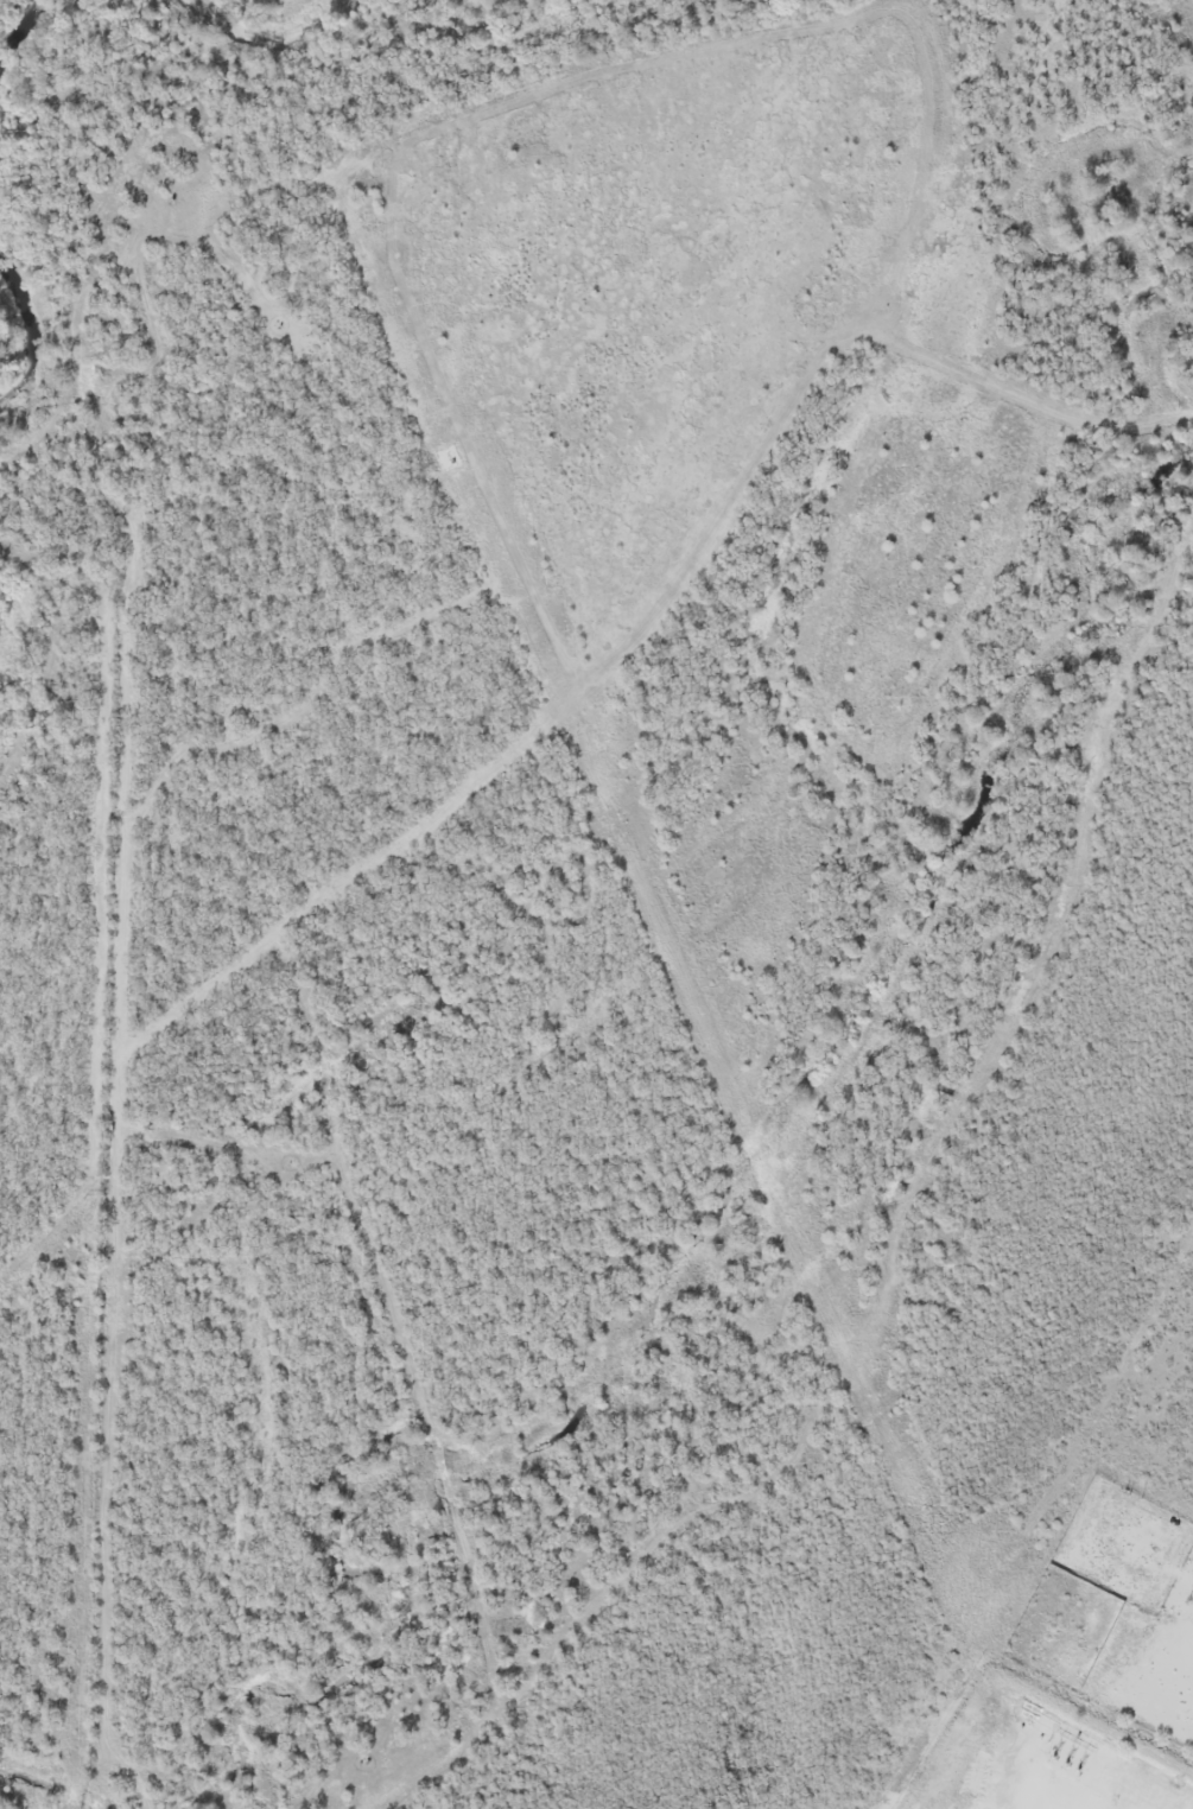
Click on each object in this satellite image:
river: (26, 32)
river: (277, 43)
river: (25, 337)

